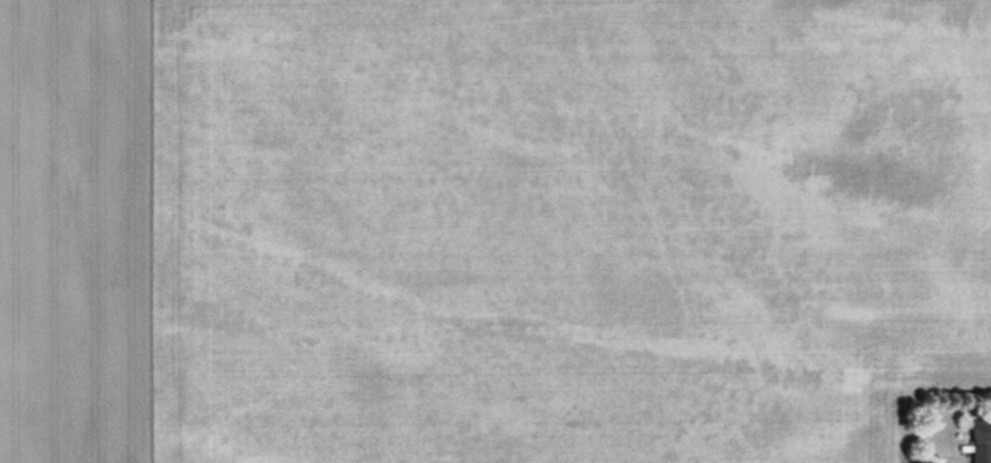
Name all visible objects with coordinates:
building: (981, 440)

